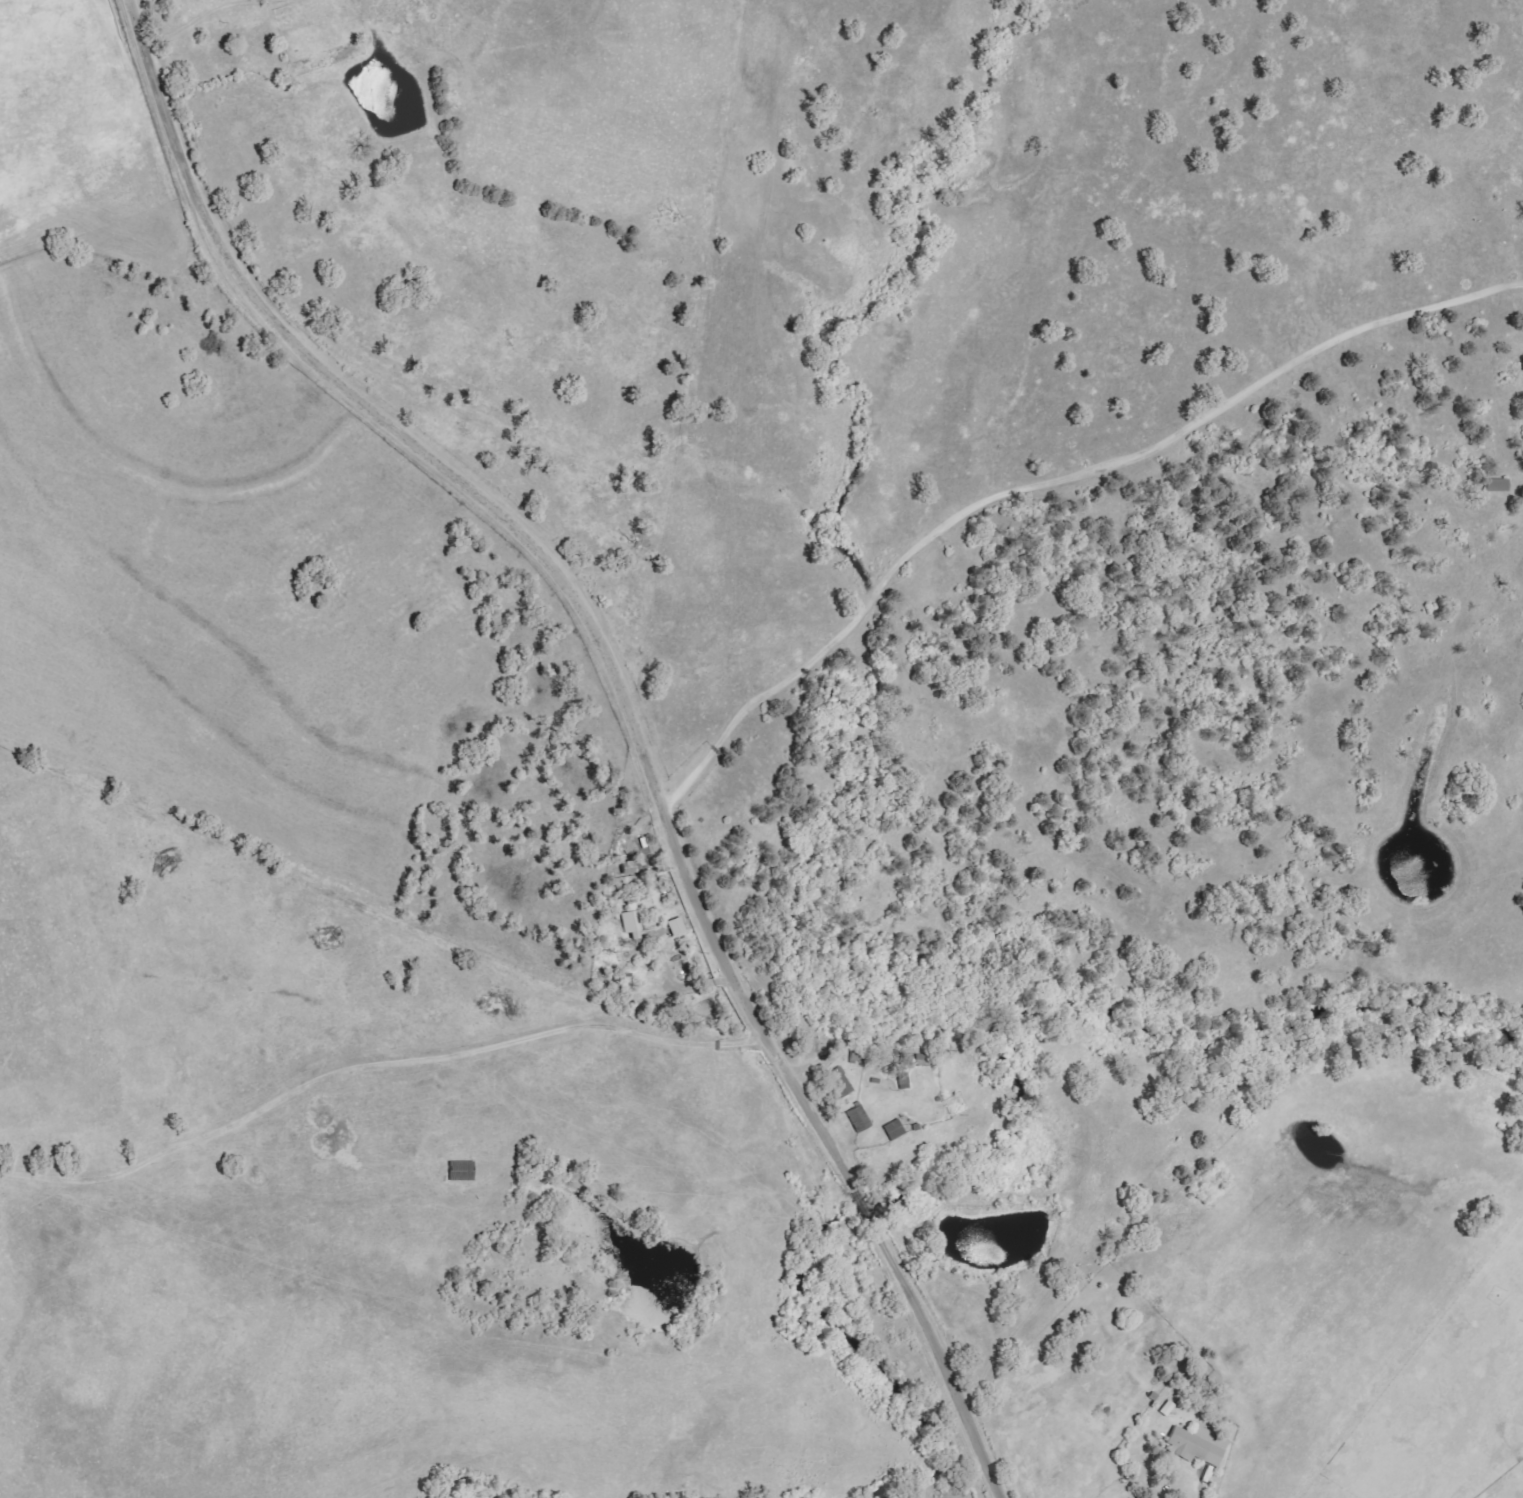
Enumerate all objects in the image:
road: (1050, 484)
building: (1498, 485)
road: (623, 702)
building: (633, 924)
building: (677, 927)
park: (405, 973)
building: (840, 1082)
building: (859, 1118)
building: (895, 1130)
road: (365, 1134)
building: (1198, 1445)

